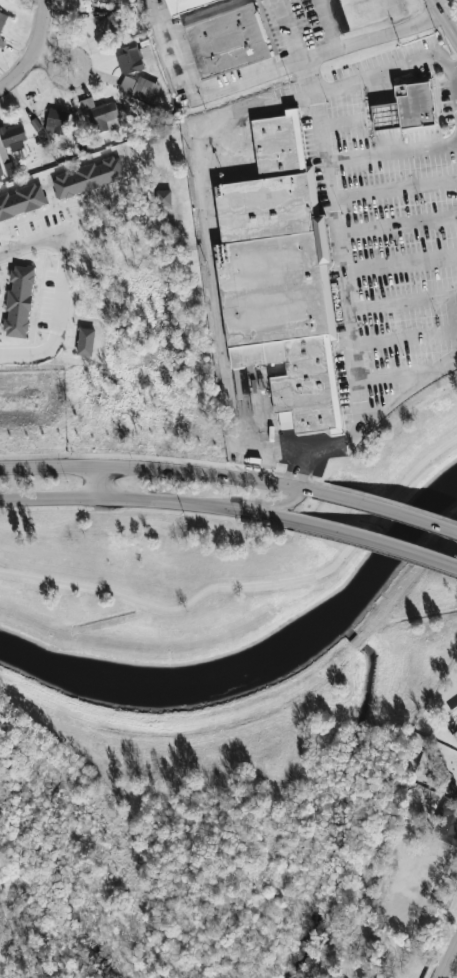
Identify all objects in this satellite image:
building: (181, 4)
road: (446, 17)
building: (2, 20)
building: (114, 24)
road: (328, 24)
road: (289, 30)
building: (226, 38)
building: (2, 42)
road: (37, 52)
road: (47, 54)
building: (129, 60)
road: (383, 65)
road: (54, 70)
road: (268, 72)
road: (455, 77)
building: (140, 86)
road: (311, 92)
building: (407, 107)
building: (102, 114)
building: (56, 121)
building: (12, 138)
road: (394, 151)
building: (1, 171)
building: (89, 177)
building: (163, 197)
building: (22, 201)
road: (398, 213)
parking lot: (400, 220)
road: (210, 265)
road: (402, 268)
road: (346, 274)
building: (284, 277)
road: (63, 285)
building: (19, 301)
road: (399, 303)
road: (449, 323)
road: (404, 339)
building: (85, 342)
road: (408, 369)
building: (241, 382)
road: (371, 421)
road: (381, 427)
road: (419, 445)
road: (165, 469)
road: (102, 482)
road: (258, 498)
road: (152, 500)
road: (393, 512)
road: (380, 546)
road: (252, 585)
river: (261, 664)
building: (448, 824)
road: (449, 961)

